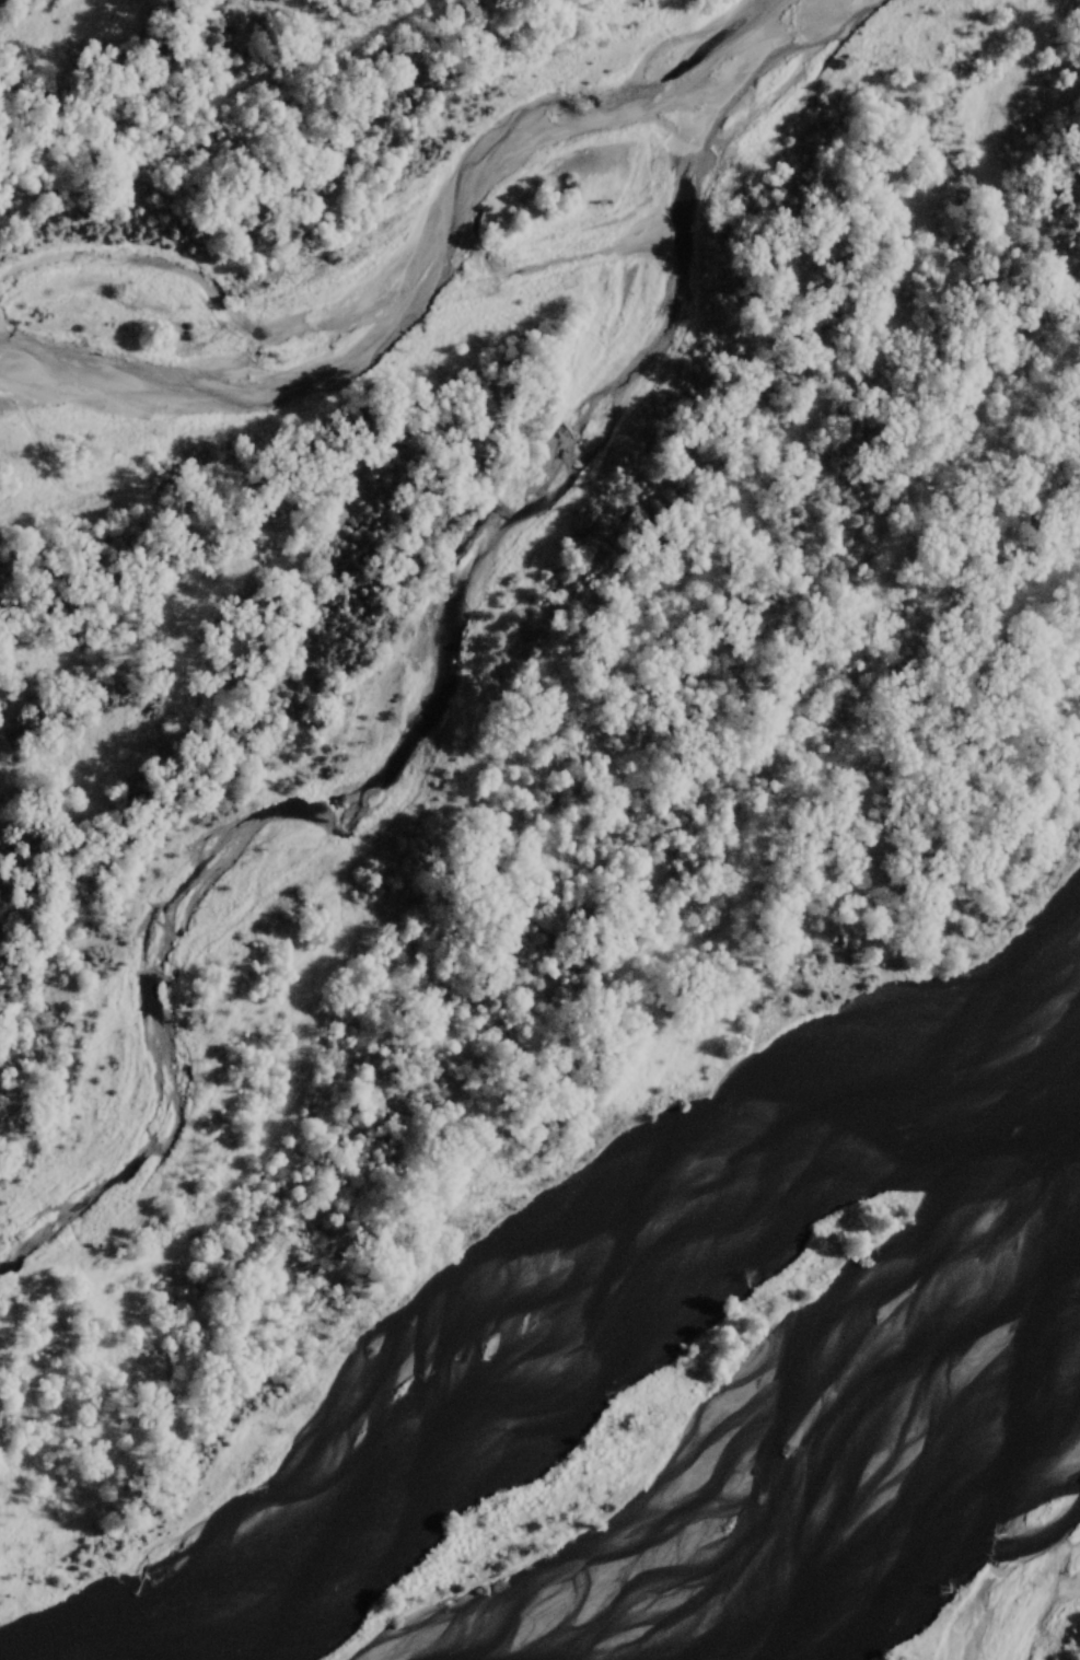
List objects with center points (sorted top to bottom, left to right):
river: (905, 1455)

